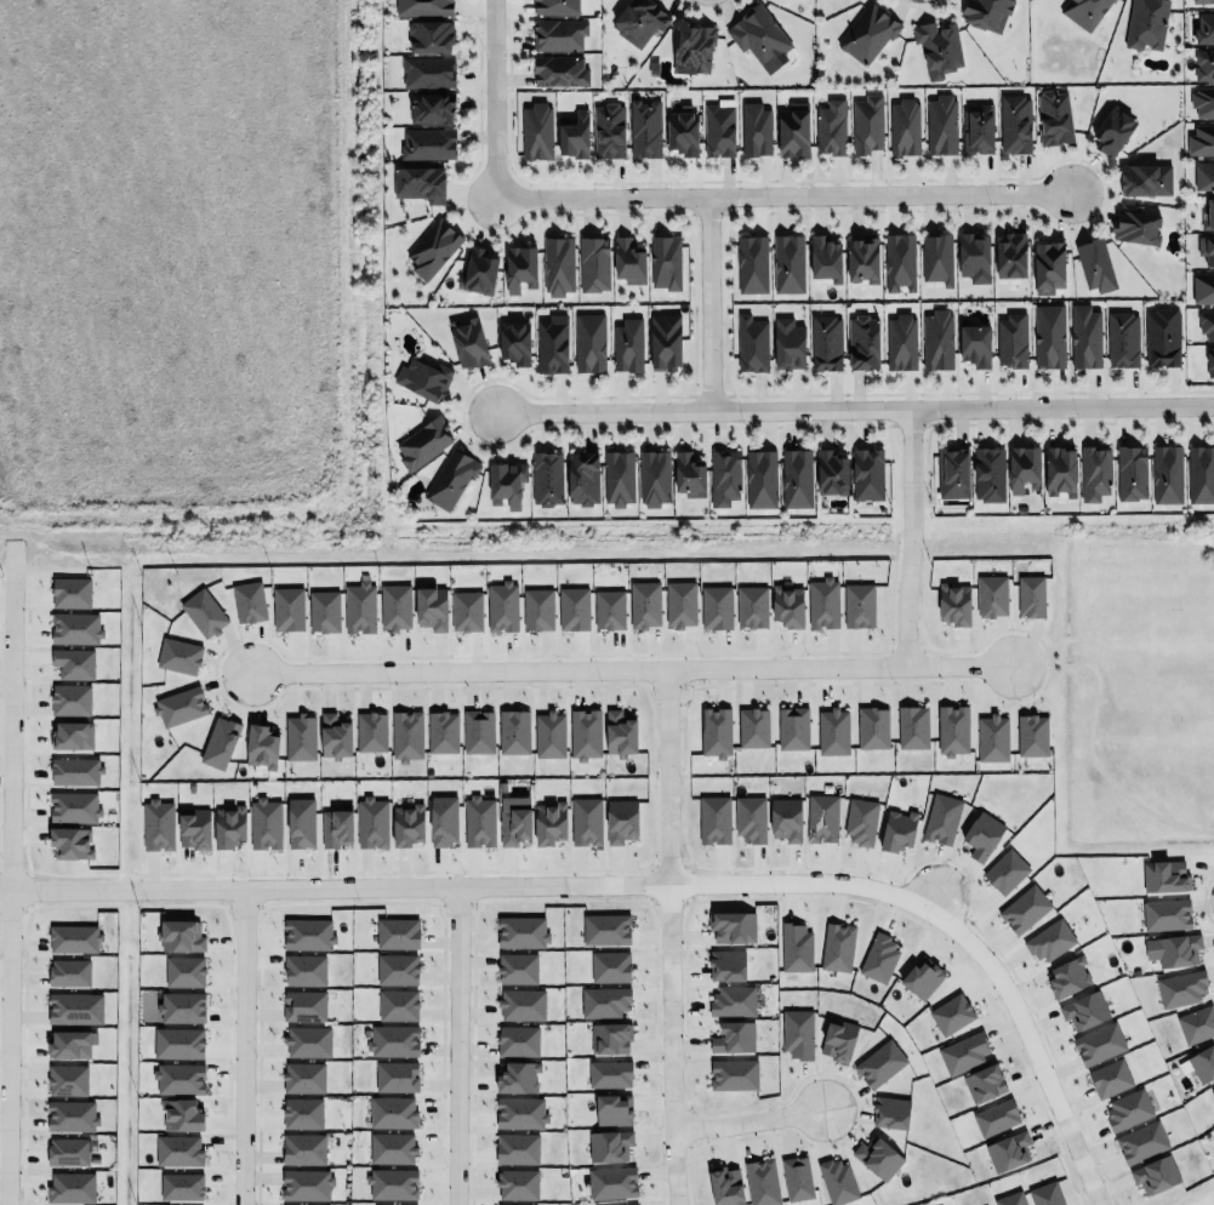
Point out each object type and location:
building: (1202, 0)
building: (423, 7)
building: (554, 7)
building: (1083, 11)
building: (986, 13)
building: (639, 19)
building: (1146, 23)
building: (1204, 28)
building: (867, 32)
building: (559, 33)
building: (431, 35)
building: (760, 36)
building: (693, 46)
building: (937, 47)
building: (1204, 64)
building: (428, 70)
building: (559, 70)
road: (11, 91)
road: (492, 98)
building: (1203, 99)
building: (432, 107)
building: (1053, 116)
building: (1015, 122)
building: (867, 124)
building: (940, 124)
building: (832, 126)
building: (904, 126)
building: (644, 127)
building: (976, 129)
building: (719, 130)
building: (756, 130)
building: (793, 130)
building: (536, 131)
building: (609, 131)
building: (682, 131)
building: (1113, 131)
building: (575, 136)
building: (1201, 139)
building: (428, 143)
building: (1204, 175)
building: (1145, 179)
building: (420, 183)
road: (782, 193)
building: (1209, 216)
building: (1136, 225)
building: (1207, 247)
building: (433, 249)
building: (1011, 255)
building: (935, 257)
building: (974, 257)
building: (826, 258)
building: (865, 258)
building: (628, 261)
building: (785, 261)
building: (899, 261)
building: (665, 262)
building: (750, 262)
building: (593, 263)
building: (554, 264)
building: (1094, 264)
building: (1048, 265)
building: (519, 268)
building: (479, 269)
building: (1202, 289)
road: (706, 301)
road: (235, 315)
building: (1207, 322)
building: (1085, 336)
building: (1049, 337)
building: (1162, 337)
building: (1123, 338)
building: (937, 339)
building: (1013, 339)
building: (667, 341)
building: (901, 341)
building: (468, 342)
building: (514, 342)
building: (587, 342)
building: (823, 342)
building: (752, 343)
building: (864, 343)
building: (552, 344)
building: (788, 344)
building: (627, 345)
building: (975, 345)
building: (1209, 361)
building: (422, 379)
road: (854, 405)
building: (423, 442)
building: (1024, 469)
building: (1061, 470)
building: (832, 472)
building: (953, 472)
building: (1095, 473)
building: (1132, 473)
building: (1198, 473)
building: (867, 474)
building: (988, 474)
building: (1167, 474)
building: (689, 476)
building: (724, 476)
building: (583, 478)
building: (619, 478)
building: (654, 478)
building: (796, 478)
building: (450, 479)
building: (547, 479)
building: (762, 479)
building: (507, 482)
road: (913, 535)
building: (70, 592)
building: (1028, 594)
building: (991, 595)
building: (245, 601)
building: (822, 602)
building: (642, 604)
building: (678, 604)
building: (856, 604)
building: (953, 604)
building: (787, 605)
building: (393, 606)
building: (429, 606)
building: (502, 606)
building: (714, 606)
building: (750, 606)
building: (359, 607)
building: (535, 607)
building: (287, 609)
building: (572, 609)
building: (466, 610)
building: (609, 610)
building: (201, 611)
building: (324, 611)
building: (75, 628)
building: (179, 656)
building: (73, 663)
road: (621, 667)
road: (5, 678)
building: (70, 699)
building: (178, 706)
building: (753, 725)
building: (873, 725)
building: (912, 725)
building: (793, 727)
building: (952, 727)
building: (512, 730)
building: (440, 731)
building: (478, 731)
building: (583, 731)
building: (617, 731)
building: (714, 731)
building: (833, 731)
building: (369, 732)
building: (72, 735)
building: (335, 735)
building: (406, 735)
building: (548, 735)
building: (1030, 735)
building: (300, 737)
building: (992, 738)
building: (217, 741)
building: (260, 744)
building: (72, 770)
building: (70, 806)
road: (10, 807)
building: (713, 817)
building: (783, 817)
building: (820, 817)
building: (940, 817)
building: (621, 818)
building: (441, 819)
building: (514, 819)
building: (586, 819)
building: (750, 819)
building: (370, 821)
building: (479, 821)
building: (859, 821)
building: (262, 822)
building: (301, 822)
building: (549, 822)
building: (406, 823)
building: (158, 824)
building: (228, 826)
building: (193, 828)
building: (336, 828)
building: (896, 828)
building: (982, 833)
building: (72, 841)
building: (1005, 869)
building: (1163, 875)
road: (640, 885)
road: (933, 898)
building: (1025, 907)
building: (1165, 914)
building: (733, 924)
building: (604, 929)
building: (521, 931)
building: (308, 933)
building: (395, 933)
building: (179, 935)
road: (669, 936)
building: (72, 937)
building: (1049, 941)
building: (837, 944)
building: (792, 947)
building: (1178, 949)
building: (877, 956)
building: (726, 963)
building: (608, 966)
building: (517, 967)
building: (397, 969)
building: (304, 970)
building: (184, 971)
building: (69, 972)
building: (1068, 975)
building: (921, 977)
building: (1181, 988)
building: (604, 999)
building: (733, 999)
building: (519, 1003)
building: (304, 1005)
building: (398, 1005)
building: (75, 1007)
building: (179, 1007)
building: (1084, 1007)
building: (951, 1013)
building: (1197, 1022)
building: (794, 1033)
building: (731, 1036)
building: (610, 1038)
building: (838, 1039)
building: (393, 1040)
building: (517, 1040)
building: (308, 1041)
building: (1099, 1041)
building: (175, 1043)
building: (72, 1044)
road: (245, 1046)
road: (457, 1046)
building: (963, 1050)
building: (880, 1061)
building: (1199, 1063)
building: (608, 1073)
building: (731, 1073)
building: (395, 1075)
building: (1110, 1075)
building: (177, 1076)
building: (303, 1076)
building: (518, 1076)
building: (67, 1079)
building: (984, 1083)
building: (1212, 1089)
building: (1128, 1107)
building: (612, 1109)
building: (300, 1112)
building: (389, 1112)
building: (518, 1112)
building: (888, 1112)
building: (179, 1113)
building: (72, 1115)
building: (996, 1115)
road: (747, 1120)
building: (1140, 1142)
building: (609, 1143)
building: (389, 1147)
building: (301, 1148)
building: (517, 1148)
building: (178, 1150)
building: (1008, 1150)
building: (68, 1152)
building: (878, 1157)
building: (1155, 1173)
building: (794, 1176)
building: (837, 1180)
building: (759, 1181)
building: (612, 1182)
building: (392, 1183)
building: (306, 1184)
building: (517, 1184)
building: (724, 1186)
building: (72, 1187)
building: (179, 1187)
building: (1045, 1193)
building: (1010, 1198)
road: (1208, 1201)
building: (384, 1204)
building: (511, 1204)
building: (621, 1204)

